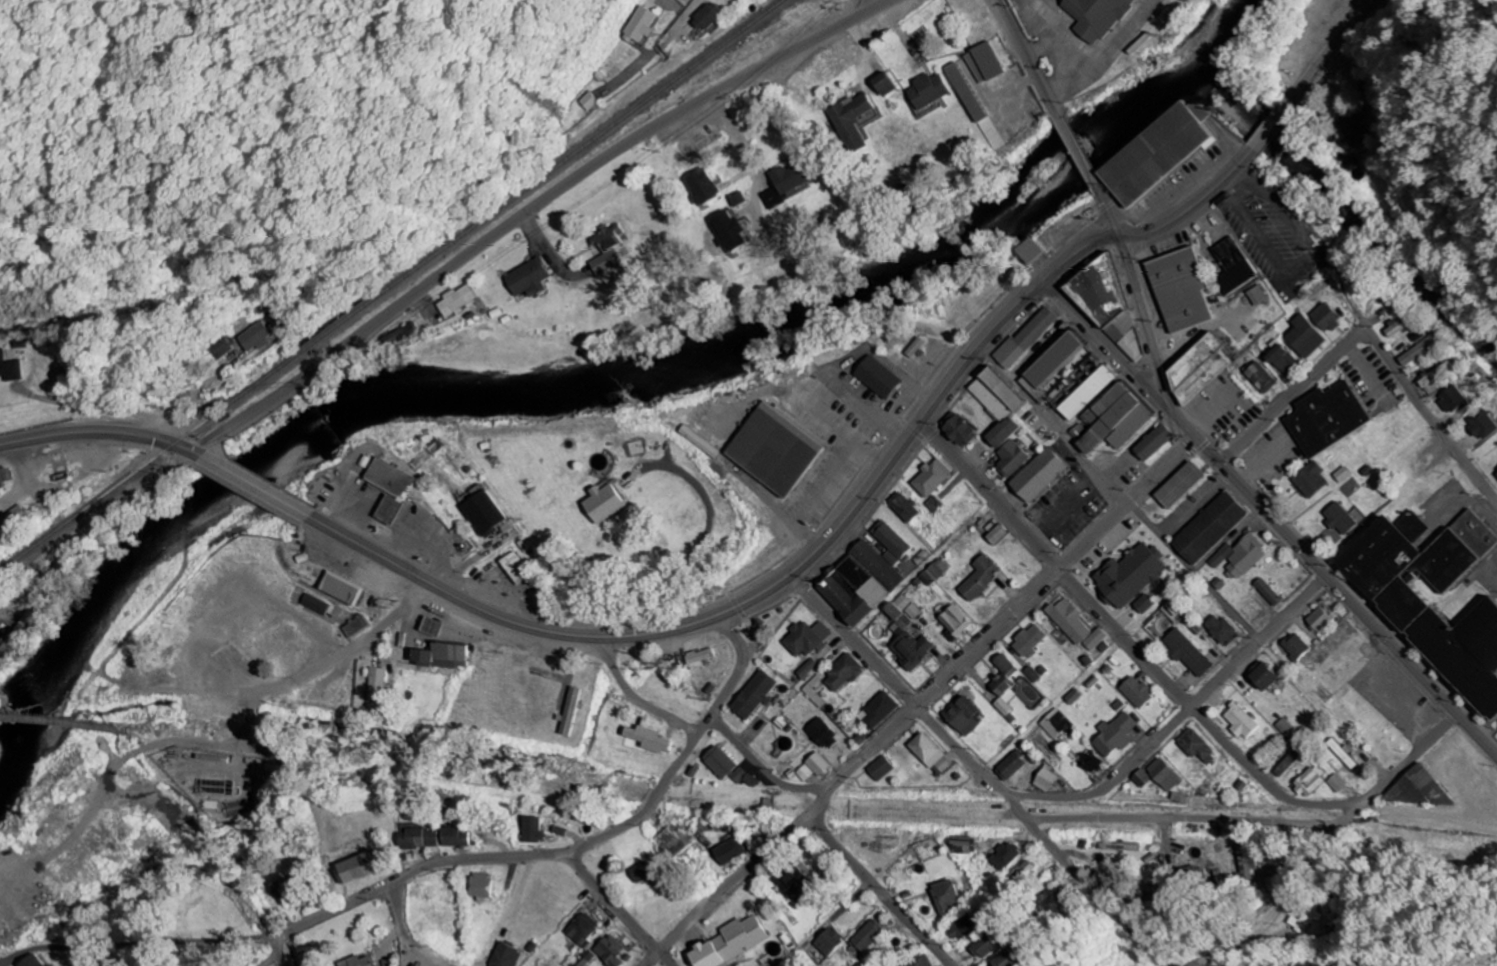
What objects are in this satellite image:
road: (884, 0)
building: (703, 16)
building: (1099, 16)
road: (677, 22)
building: (635, 25)
road: (1030, 59)
building: (986, 63)
road: (626, 70)
building: (884, 84)
building: (929, 90)
building: (585, 101)
building: (976, 106)
building: (852, 121)
building: (1351, 131)
road: (1261, 139)
road: (1080, 151)
building: (1159, 152)
building: (1351, 161)
building: (792, 181)
building: (702, 187)
building: (773, 198)
road: (529, 208)
road: (1110, 211)
building: (730, 232)
building: (609, 238)
building: (1032, 251)
building: (607, 262)
building: (1233, 266)
building: (529, 279)
railway: (392, 287)
building: (1182, 288)
building: (1258, 295)
building: (457, 302)
building: (1107, 304)
building: (1326, 316)
road: (1142, 318)
building: (1401, 326)
building: (257, 336)
building: (401, 336)
building: (1305, 336)
building: (1025, 339)
road: (1102, 339)
building: (917, 347)
building: (224, 348)
building: (1422, 349)
road: (98, 354)
building: (1282, 358)
building: (1051, 365)
building: (1199, 367)
building: (11, 368)
building: (879, 376)
building: (1435, 376)
building: (1261, 377)
river: (577, 386)
building: (1088, 392)
building: (996, 394)
road: (1292, 395)
building: (1452, 400)
road: (1429, 414)
building: (1327, 418)
building: (1112, 420)
road: (1054, 423)
building: (1483, 424)
building: (958, 429)
building: (1002, 432)
road: (102, 433)
building: (1154, 442)
building: (776, 449)
building: (1011, 458)
road: (884, 469)
building: (1496, 472)
building: (1342, 474)
building: (1038, 475)
building: (389, 476)
building: (2, 478)
building: (931, 478)
building: (1310, 479)
road: (257, 485)
building: (1179, 485)
building: (0, 494)
building: (601, 503)
building: (903, 507)
building: (390, 510)
gas station: (390, 510)
building: (482, 513)
building: (1339, 518)
building: (13, 520)
road: (707, 521)
building: (1209, 528)
building: (996, 535)
road: (1238, 541)
building: (1239, 556)
road: (1308, 556)
road: (1201, 562)
building: (512, 566)
building: (932, 572)
building: (1129, 574)
building: (979, 577)
building: (858, 583)
building: (340, 588)
building: (1266, 592)
road: (451, 595)
building: (313, 604)
building: (1142, 604)
building: (911, 611)
building: (897, 613)
building: (1414, 616)
building: (1320, 618)
building: (1067, 620)
building: (952, 622)
building: (352, 626)
building: (429, 626)
building: (1219, 630)
building: (18, 633)
building: (803, 638)
building: (1093, 639)
road: (1125, 639)
building: (1027, 640)
building: (1293, 647)
building: (909, 650)
building: (1185, 652)
building: (437, 656)
building: (696, 656)
road: (320, 663)
building: (804, 668)
building: (840, 672)
building: (1032, 673)
building: (1260, 675)
building: (1002, 684)
building: (371, 685)
building: (811, 691)
building: (1135, 692)
building: (750, 695)
building: (1071, 696)
road: (1334, 698)
road: (633, 699)
road: (919, 703)
building: (874, 711)
building: (565, 712)
building: (960, 716)
road: (1175, 719)
building: (1238, 721)
railway: (62, 723)
building: (1052, 723)
building: (1281, 726)
road: (1476, 732)
building: (818, 733)
building: (1112, 734)
building: (642, 739)
building: (1270, 743)
building: (1193, 747)
building: (925, 753)
building: (1341, 754)
building: (714, 762)
building: (1087, 762)
building: (1284, 763)
building: (814, 764)
building: (1007, 765)
road: (756, 766)
building: (875, 768)
road: (974, 770)
building: (800, 773)
building: (1160, 774)
building: (738, 777)
building: (1138, 778)
building: (1042, 779)
building: (1307, 781)
building: (1333, 782)
building: (1418, 790)
building: (528, 830)
building: (453, 837)
building: (416, 838)
building: (668, 843)
road: (1322, 843)
road: (578, 844)
building: (957, 844)
building: (1115, 846)
building: (725, 851)
building: (1000, 856)
road: (158, 861)
building: (1238, 865)
building: (355, 867)
building: (636, 872)
building: (1186, 874)
building: (793, 883)
building: (478, 886)
road: (874, 890)
building: (283, 892)
building: (944, 897)
building: (1049, 901)
road: (613, 909)
building: (1295, 917)
building: (959, 928)
building: (577, 929)
road: (404, 933)
building: (864, 936)
road: (269, 941)
building: (826, 942)
building: (728, 943)
building: (979, 947)
building: (604, 951)
building: (502, 956)
building: (579, 959)
building: (1004, 959)
building: (24, 961)
building: (354, 961)
building: (914, 962)
building: (42, 965)

